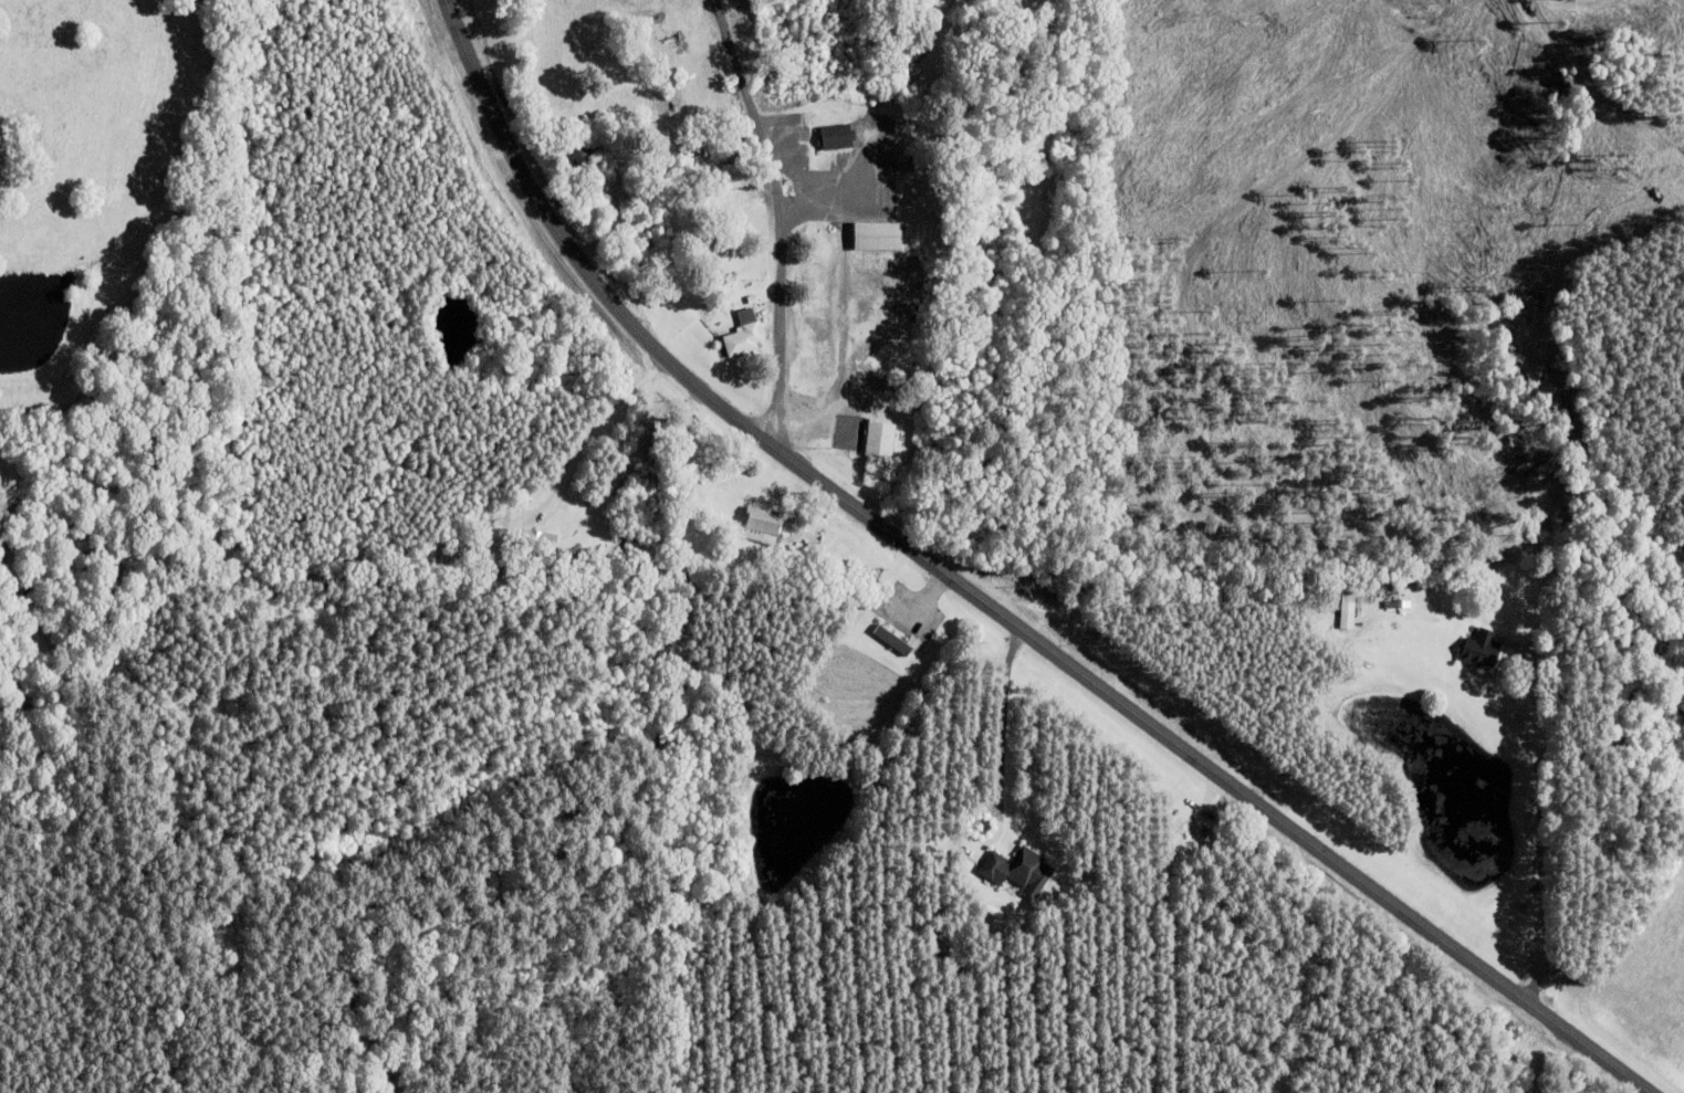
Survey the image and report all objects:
building: (587, 156)
building: (698, 161)
road: (782, 216)
building: (878, 235)
building: (744, 335)
building: (880, 439)
building: (683, 484)
building: (762, 525)
building: (483, 535)
building: (538, 540)
building: (813, 553)
road: (990, 601)
building: (1349, 614)
building: (892, 640)
building: (1484, 649)
road: (1545, 839)
building: (1018, 870)

